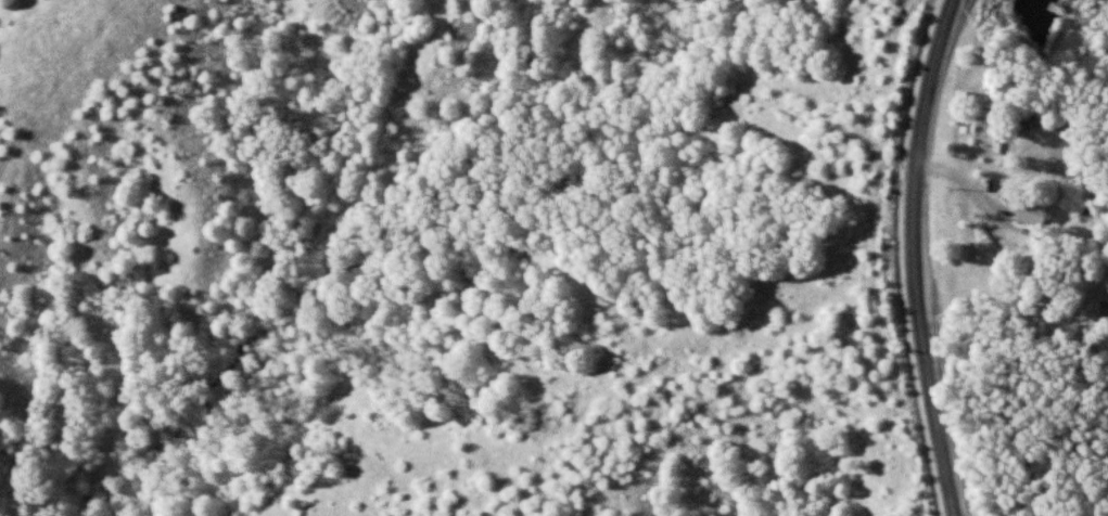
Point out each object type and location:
building: (1033, 212)
road: (916, 258)

